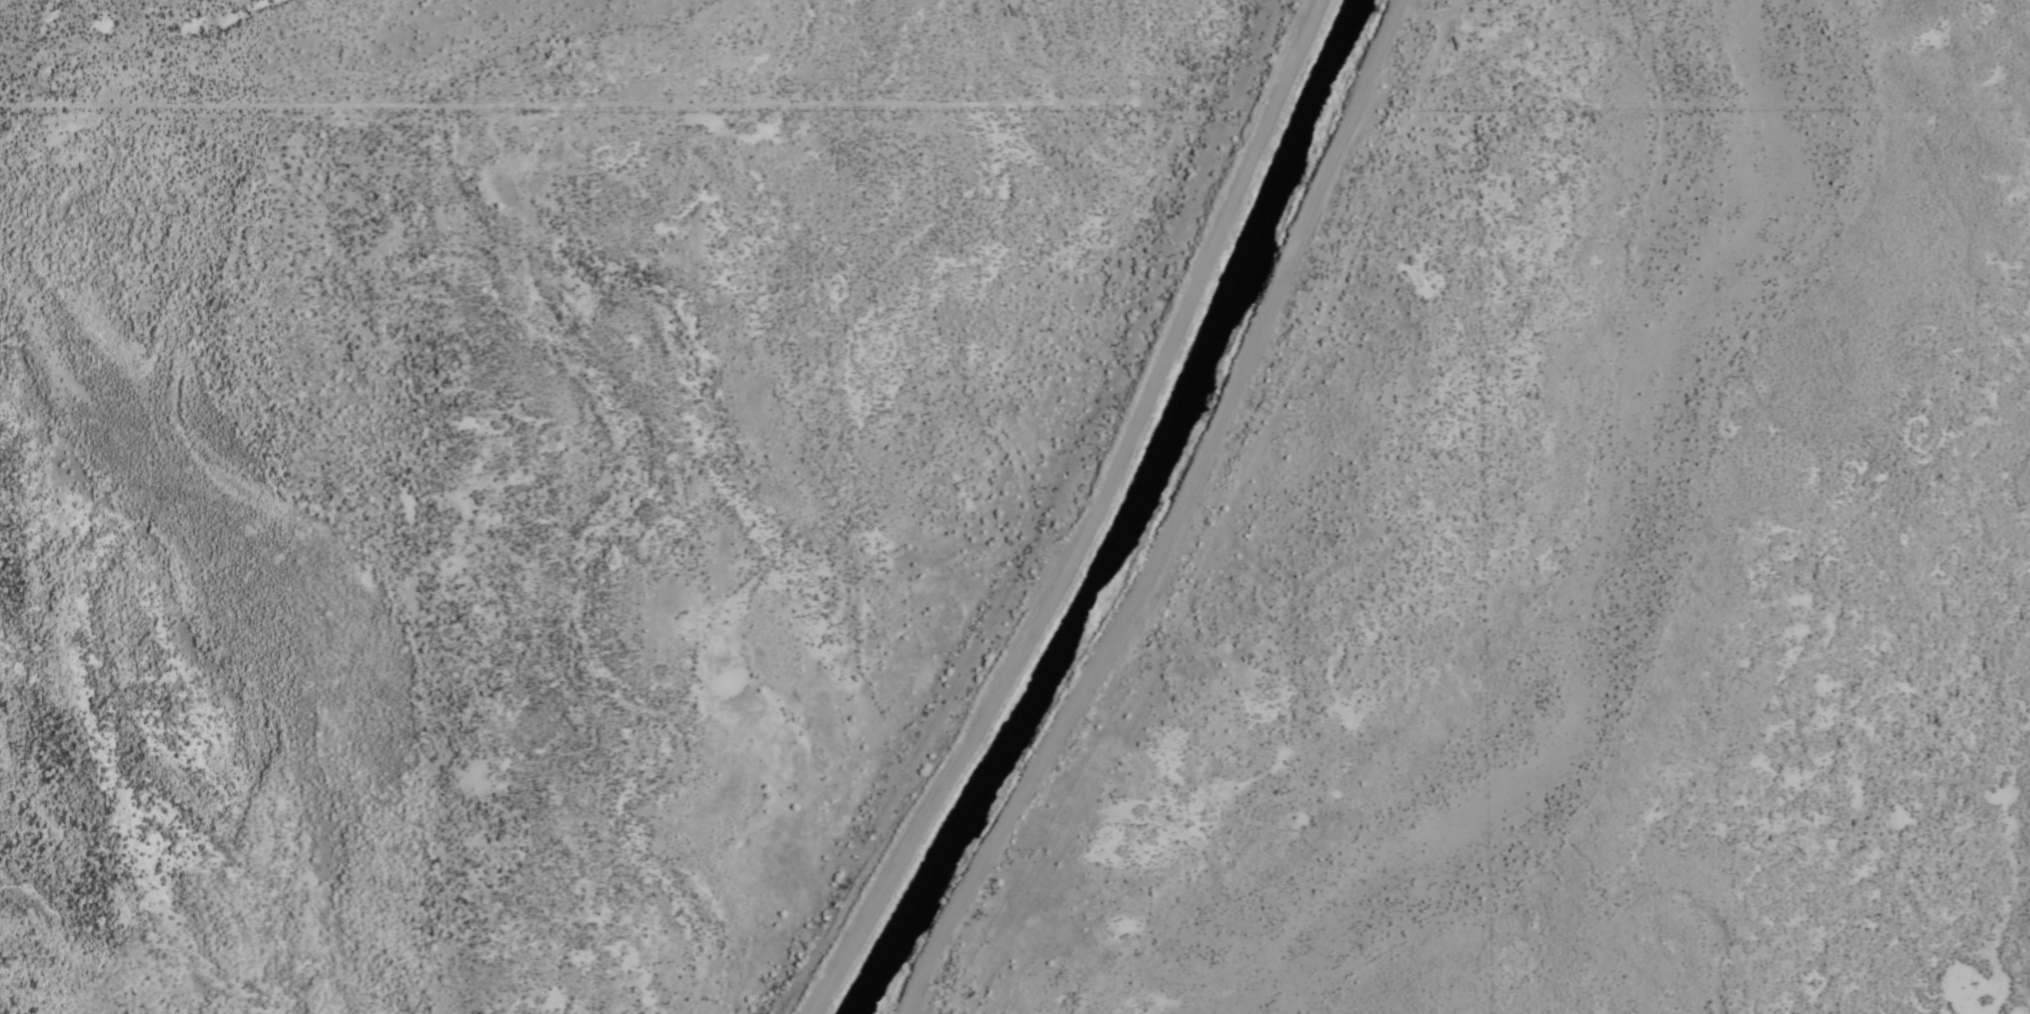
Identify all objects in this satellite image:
road: (1178, 519)
road: (1104, 521)

